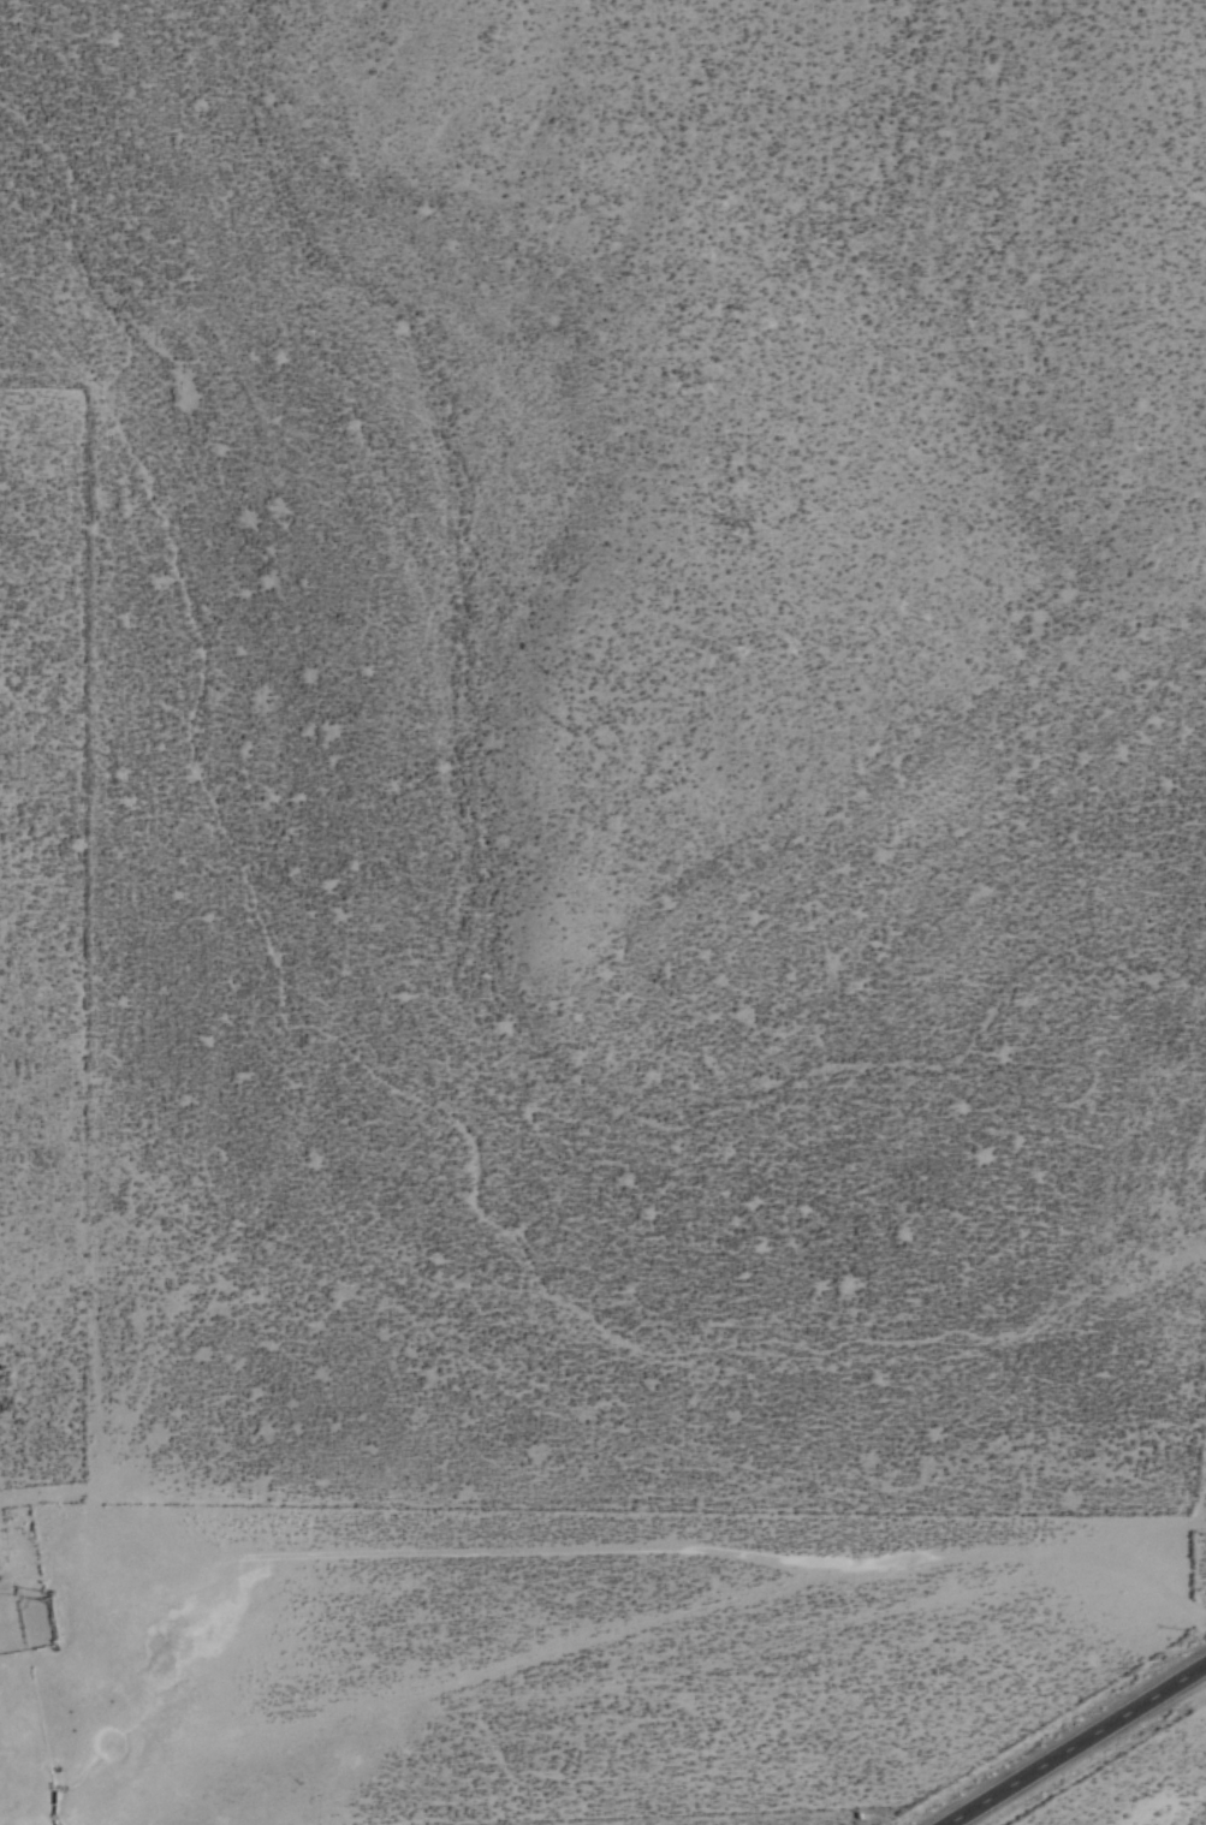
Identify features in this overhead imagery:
road: (1076, 1743)
airport runway: (1182, 1809)

